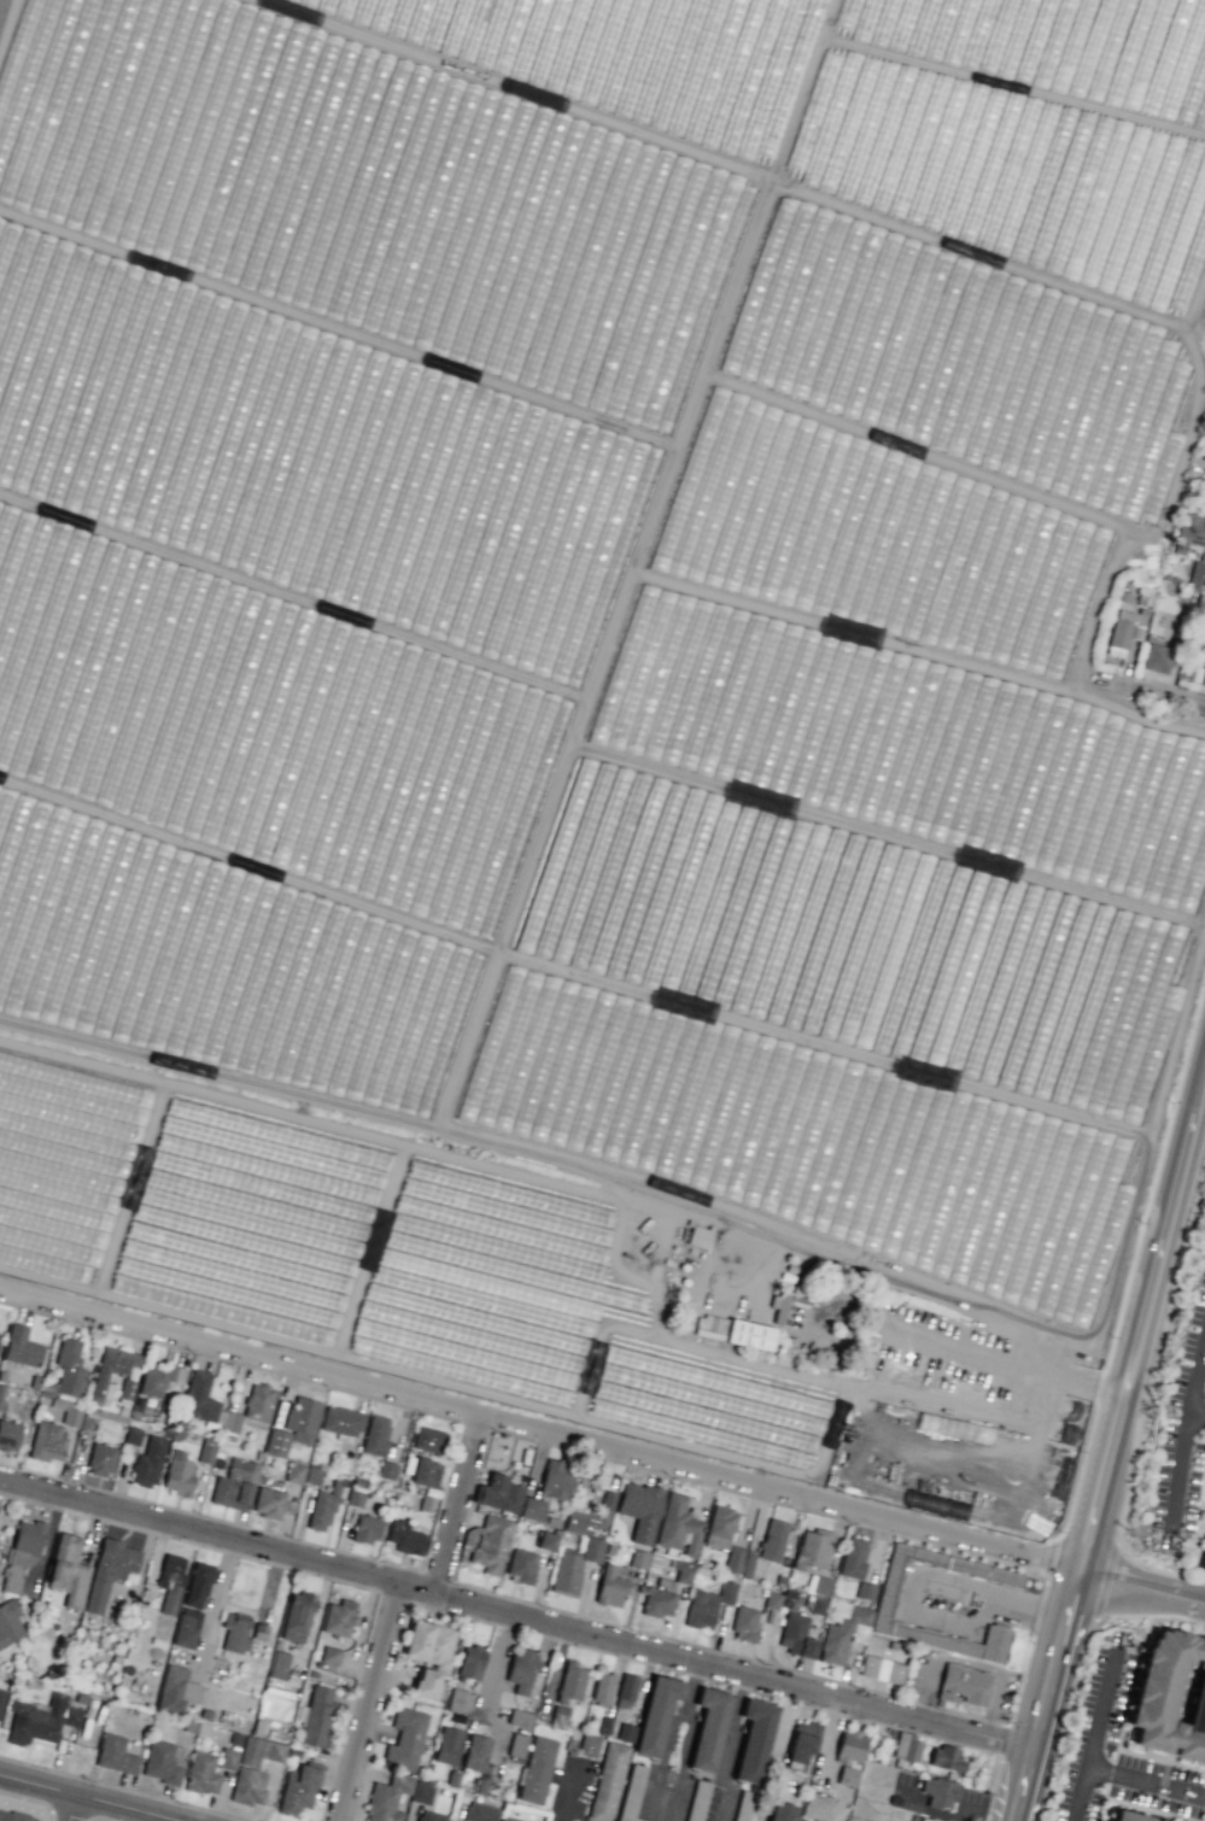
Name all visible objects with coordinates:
building: (1057, 47)
building: (305, 456)
building: (1191, 532)
building: (1194, 575)
building: (1121, 630)
building: (1156, 658)
building: (1201, 674)
crop: (604, 693)
road: (1171, 693)
building: (255, 721)
building: (902, 748)
building: (207, 959)
building: (821, 1148)
building: (62, 1164)
building: (697, 1236)
building: (713, 1327)
building: (749, 1334)
building: (21, 1346)
building: (69, 1368)
building: (111, 1370)
building: (159, 1378)
building: (127, 1388)
road: (1195, 1392)
building: (199, 1398)
building: (258, 1403)
building: (71, 1416)
building: (340, 1421)
building: (230, 1422)
building: (293, 1425)
building: (8, 1434)
building: (131, 1435)
building: (375, 1435)
building: (427, 1440)
building: (46, 1441)
road: (1111, 1446)
road: (601, 1447)
building: (206, 1451)
building: (101, 1459)
building: (148, 1462)
building: (386, 1470)
building: (421, 1471)
building: (294, 1472)
road: (1180, 1472)
building: (177, 1474)
building: (312, 1475)
building: (556, 1480)
building: (234, 1485)
building: (498, 1493)
building: (353, 1498)
building: (268, 1503)
road: (462, 1507)
building: (322, 1509)
building: (531, 1509)
building: (639, 1510)
building: (590, 1517)
building: (678, 1526)
building: (719, 1527)
building: (365, 1528)
building: (404, 1538)
building: (772, 1540)
building: (545, 1541)
building: (487, 1542)
building: (811, 1548)
building: (22, 1551)
building: (853, 1557)
building: (637, 1559)
building: (732, 1559)
building: (748, 1563)
building: (521, 1565)
building: (573, 1565)
building: (1204, 1567)
building: (68, 1570)
building: (109, 1570)
building: (1004, 1577)
building: (170, 1582)
building: (198, 1585)
building: (818, 1585)
building: (609, 1587)
building: (865, 1591)
building: (660, 1598)
building: (771, 1599)
building: (885, 1603)
building: (707, 1605)
building: (296, 1617)
building: (338, 1617)
road: (516, 1617)
building: (8, 1622)
building: (744, 1623)
building: (186, 1628)
building: (234, 1630)
building: (841, 1634)
building: (795, 1635)
building: (957, 1640)
building: (428, 1644)
building: (328, 1656)
building: (470, 1662)
building: (277, 1664)
building: (521, 1669)
building: (881, 1669)
building: (426, 1682)
building: (569, 1682)
building: (964, 1685)
building: (175, 1690)
building: (602, 1690)
building: (625, 1691)
building: (1171, 1696)
building: (1, 1698)
road: (378, 1704)
building: (315, 1715)
building: (656, 1715)
building: (520, 1717)
building: (40, 1718)
building: (708, 1728)
building: (625, 1733)
building: (404, 1739)
building: (754, 1740)
building: (802, 1741)
building: (448, 1745)
building: (516, 1745)
building: (589, 1745)
building: (850, 1746)
building: (907, 1747)
building: (259, 1751)
building: (475, 1752)
building: (115, 1755)
building: (227, 1758)
building: (946, 1758)
building: (163, 1761)
road: (1090, 1767)
building: (537, 1769)
building: (201, 1773)
building: (846, 1776)
building: (608, 1781)
building: (634, 1781)
building: (248, 1786)
building: (297, 1788)
building: (940, 1792)
building: (421, 1793)
road: (1077, 1793)
building: (386, 1798)
road: (80, 1800)
building: (697, 1800)
building: (817, 1807)
road: (78, 1811)
building: (479, 1811)
building: (780, 1811)
building: (14, 1816)
building: (429, 1816)
building: (1129, 1816)
building: (508, 1819)
building: (926, 1819)
building: (637, 1820)

